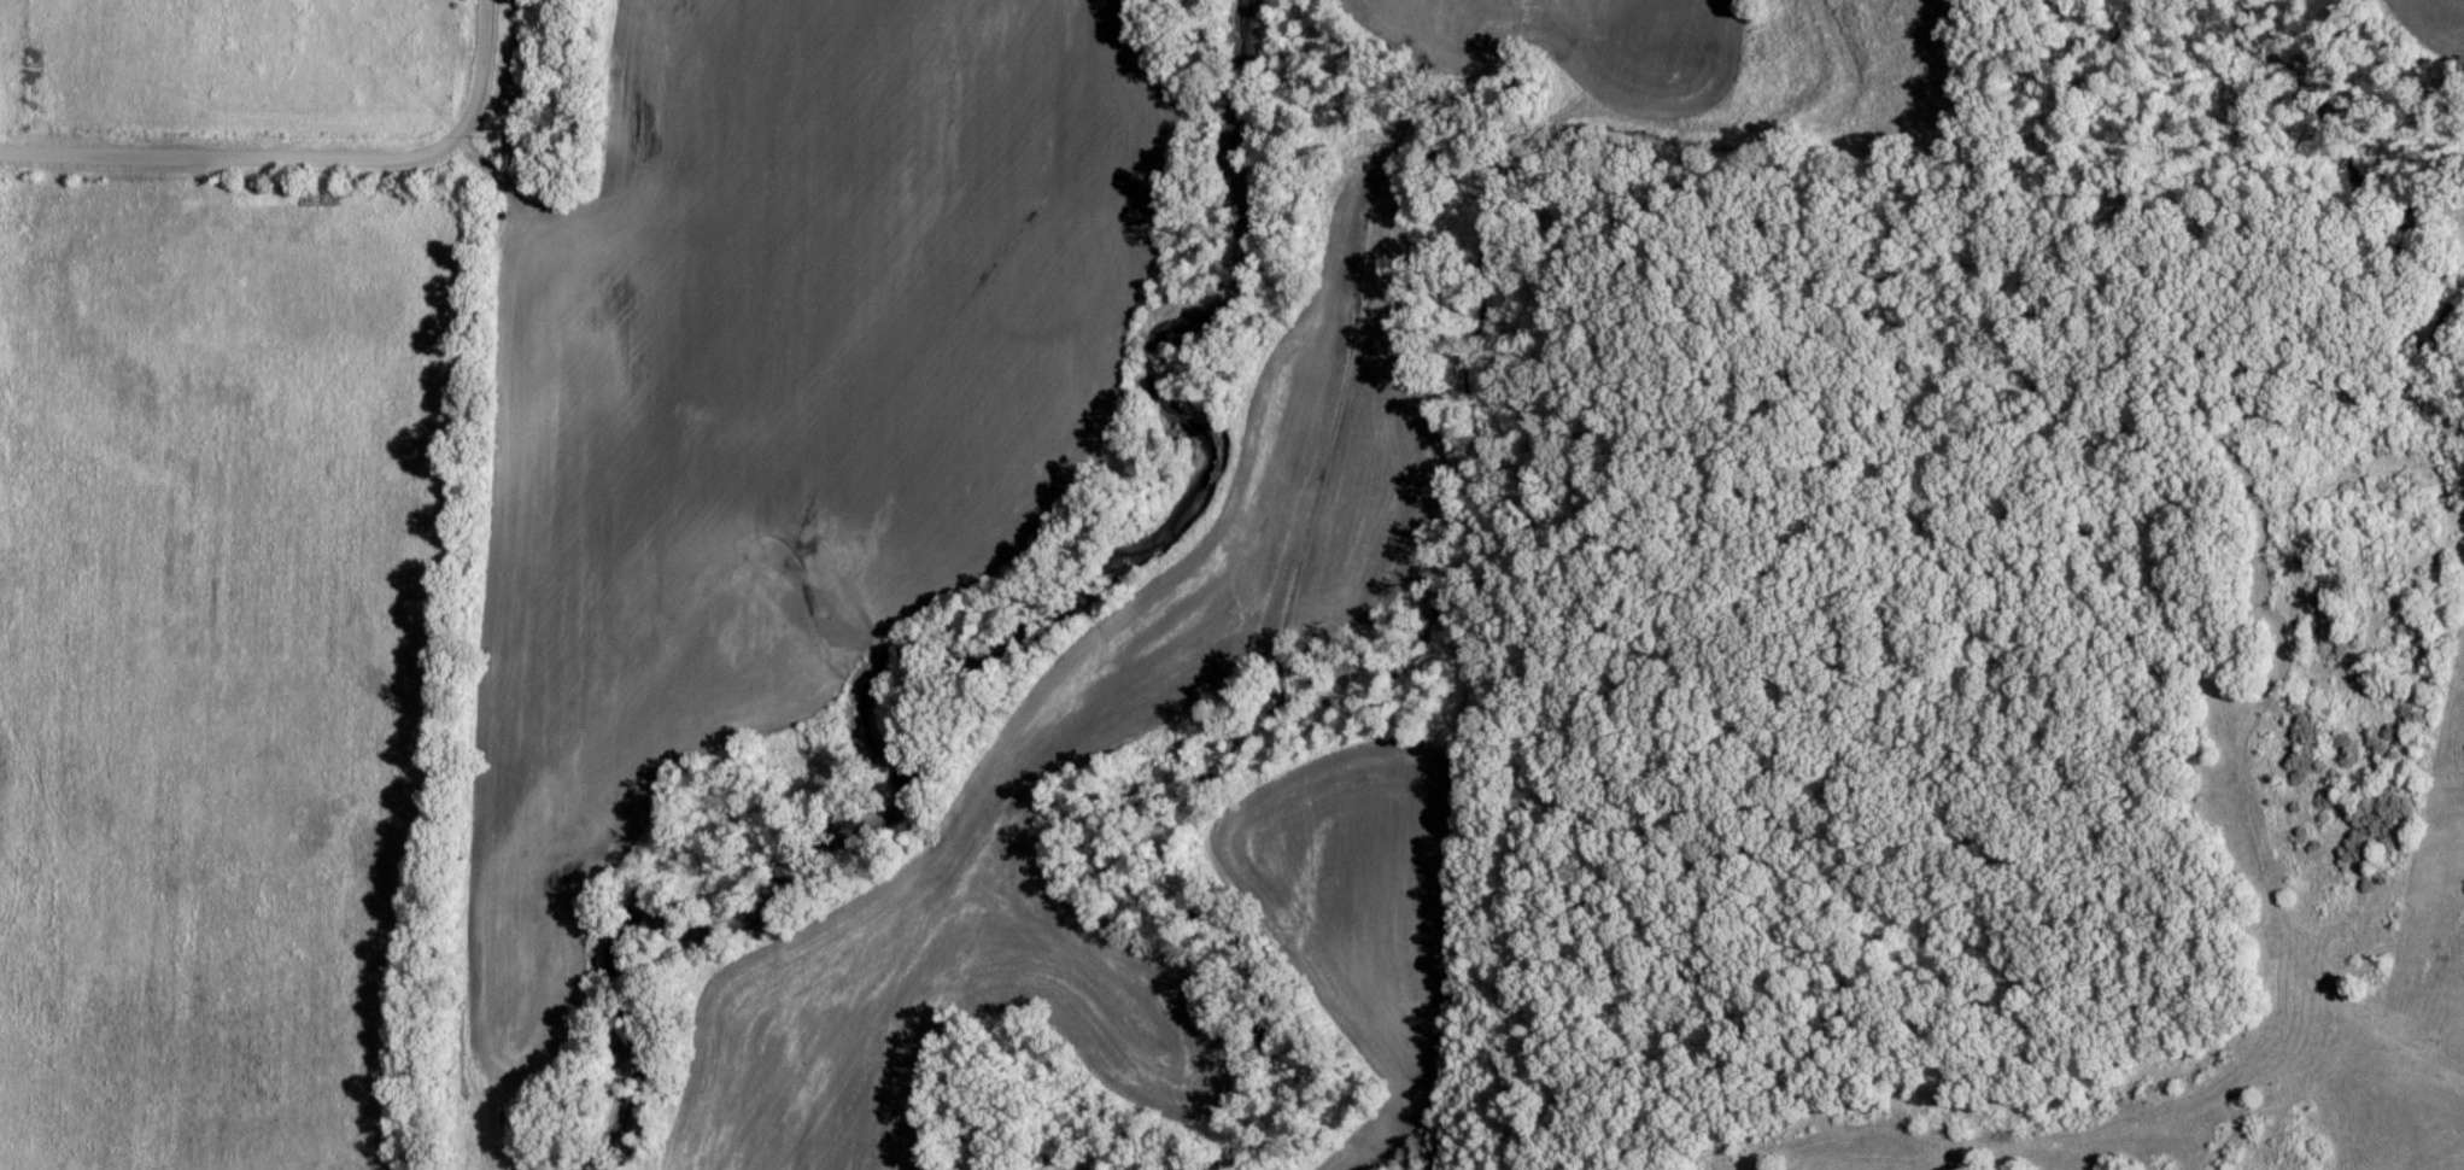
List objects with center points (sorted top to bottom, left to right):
road: (297, 152)

